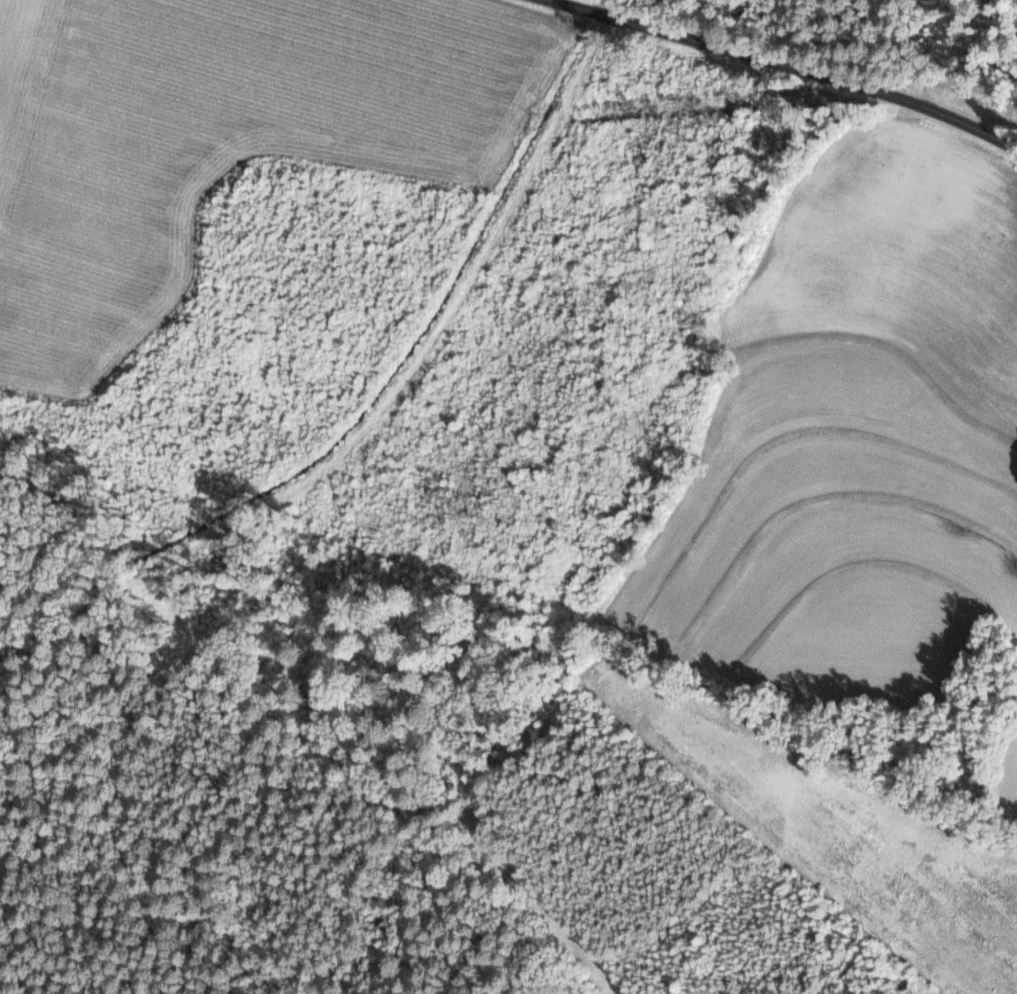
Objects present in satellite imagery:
road: (592, 5)
road: (787, 65)

